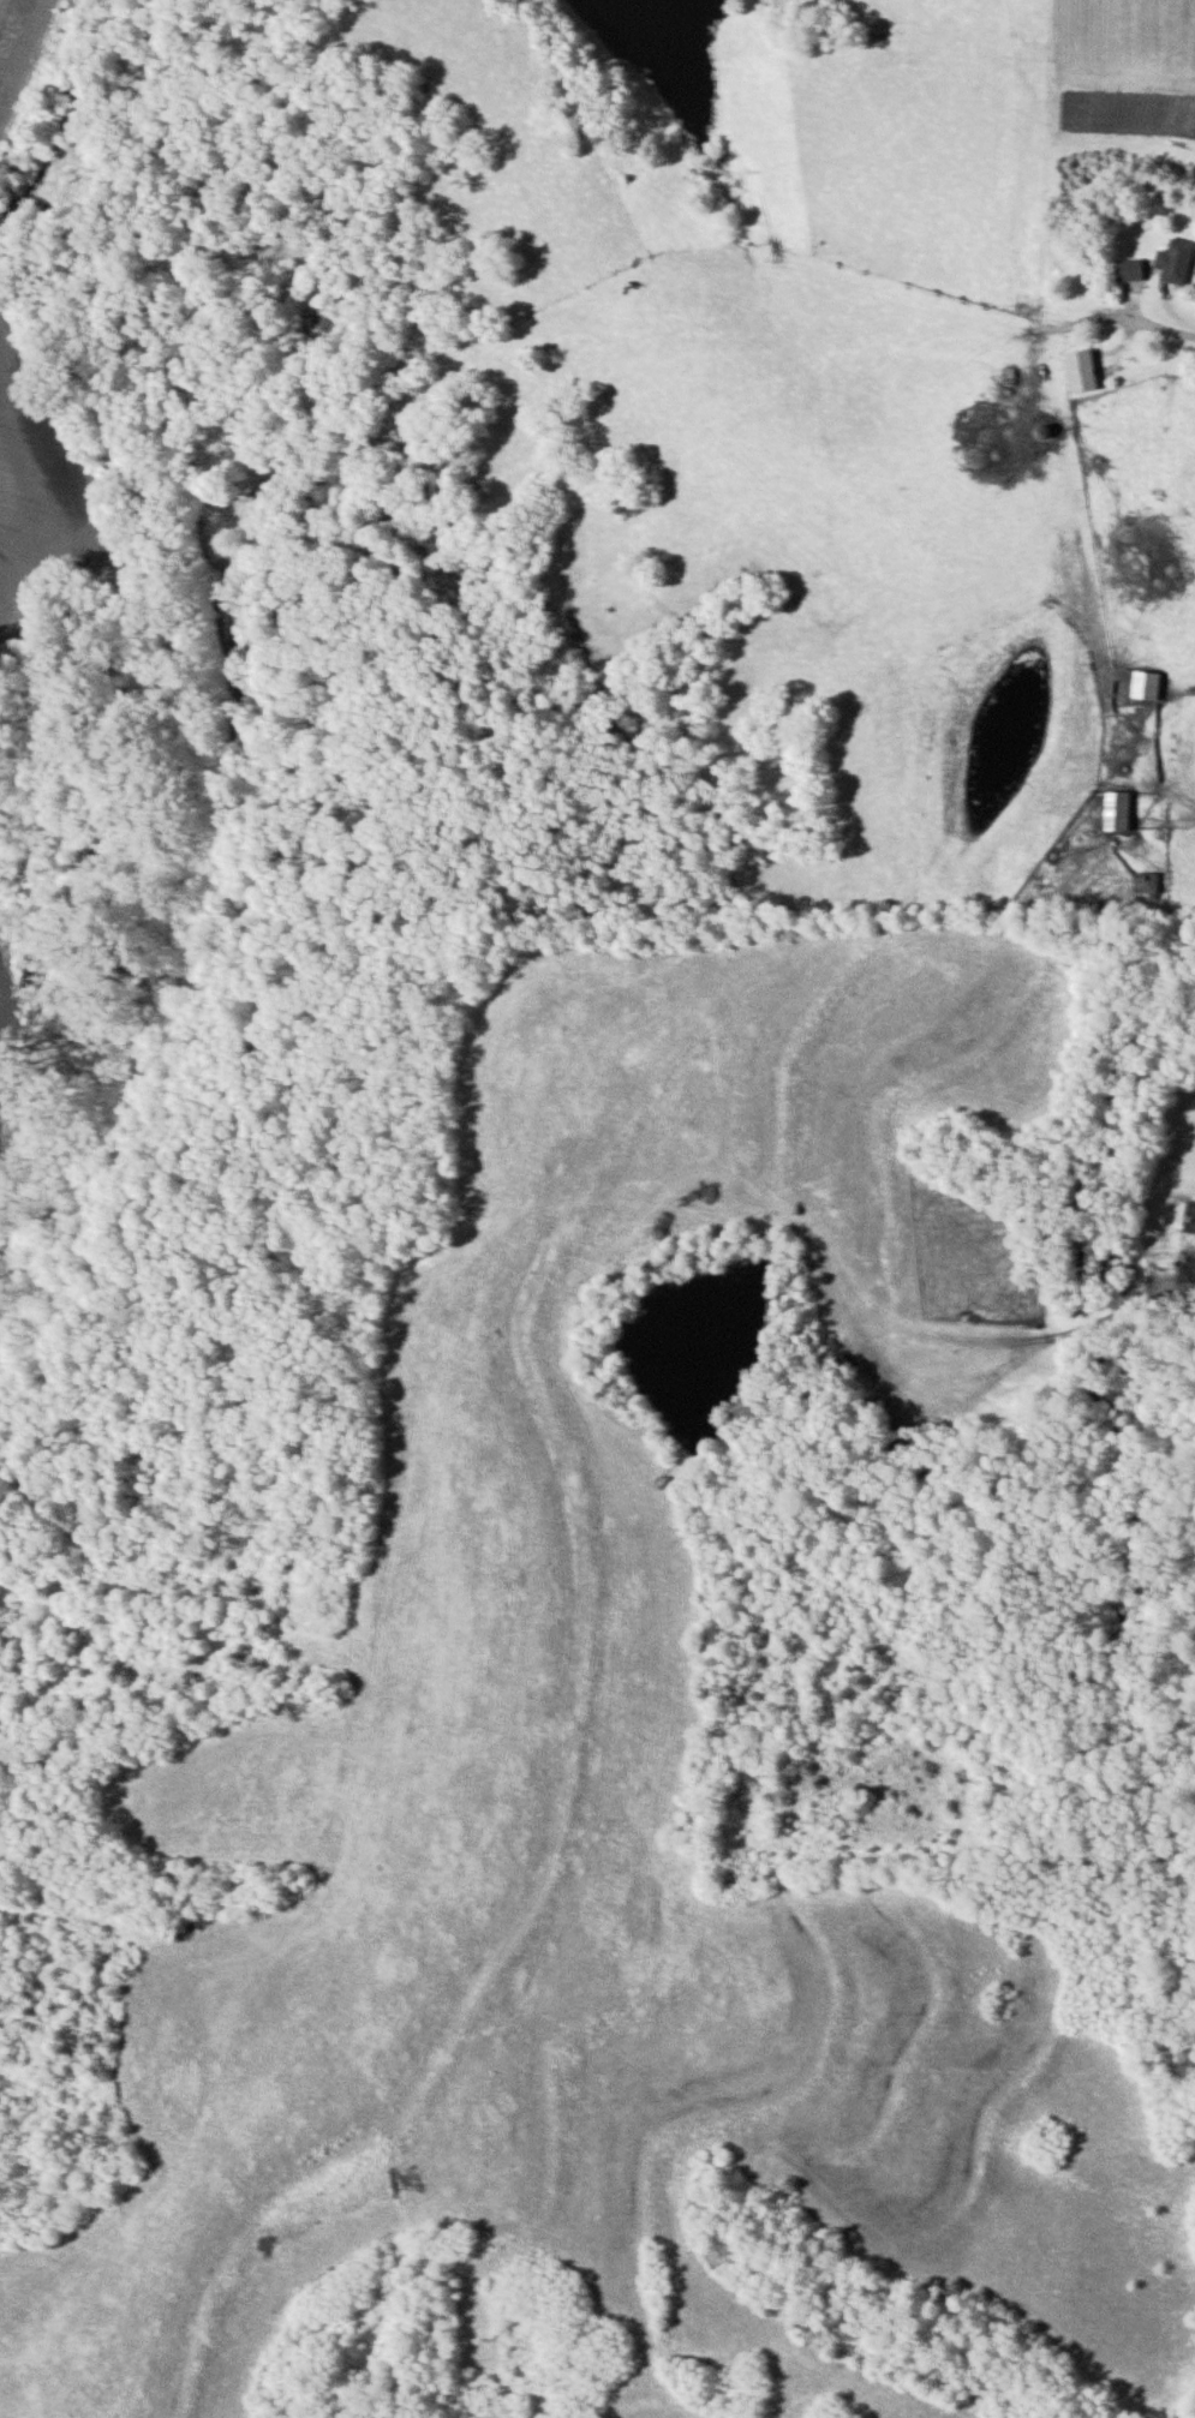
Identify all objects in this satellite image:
crop: (29, 52)
building: (1178, 261)
building: (1133, 269)
road: (1157, 325)
building: (1086, 369)
crop: (43, 493)
building: (1148, 684)
building: (1147, 881)

